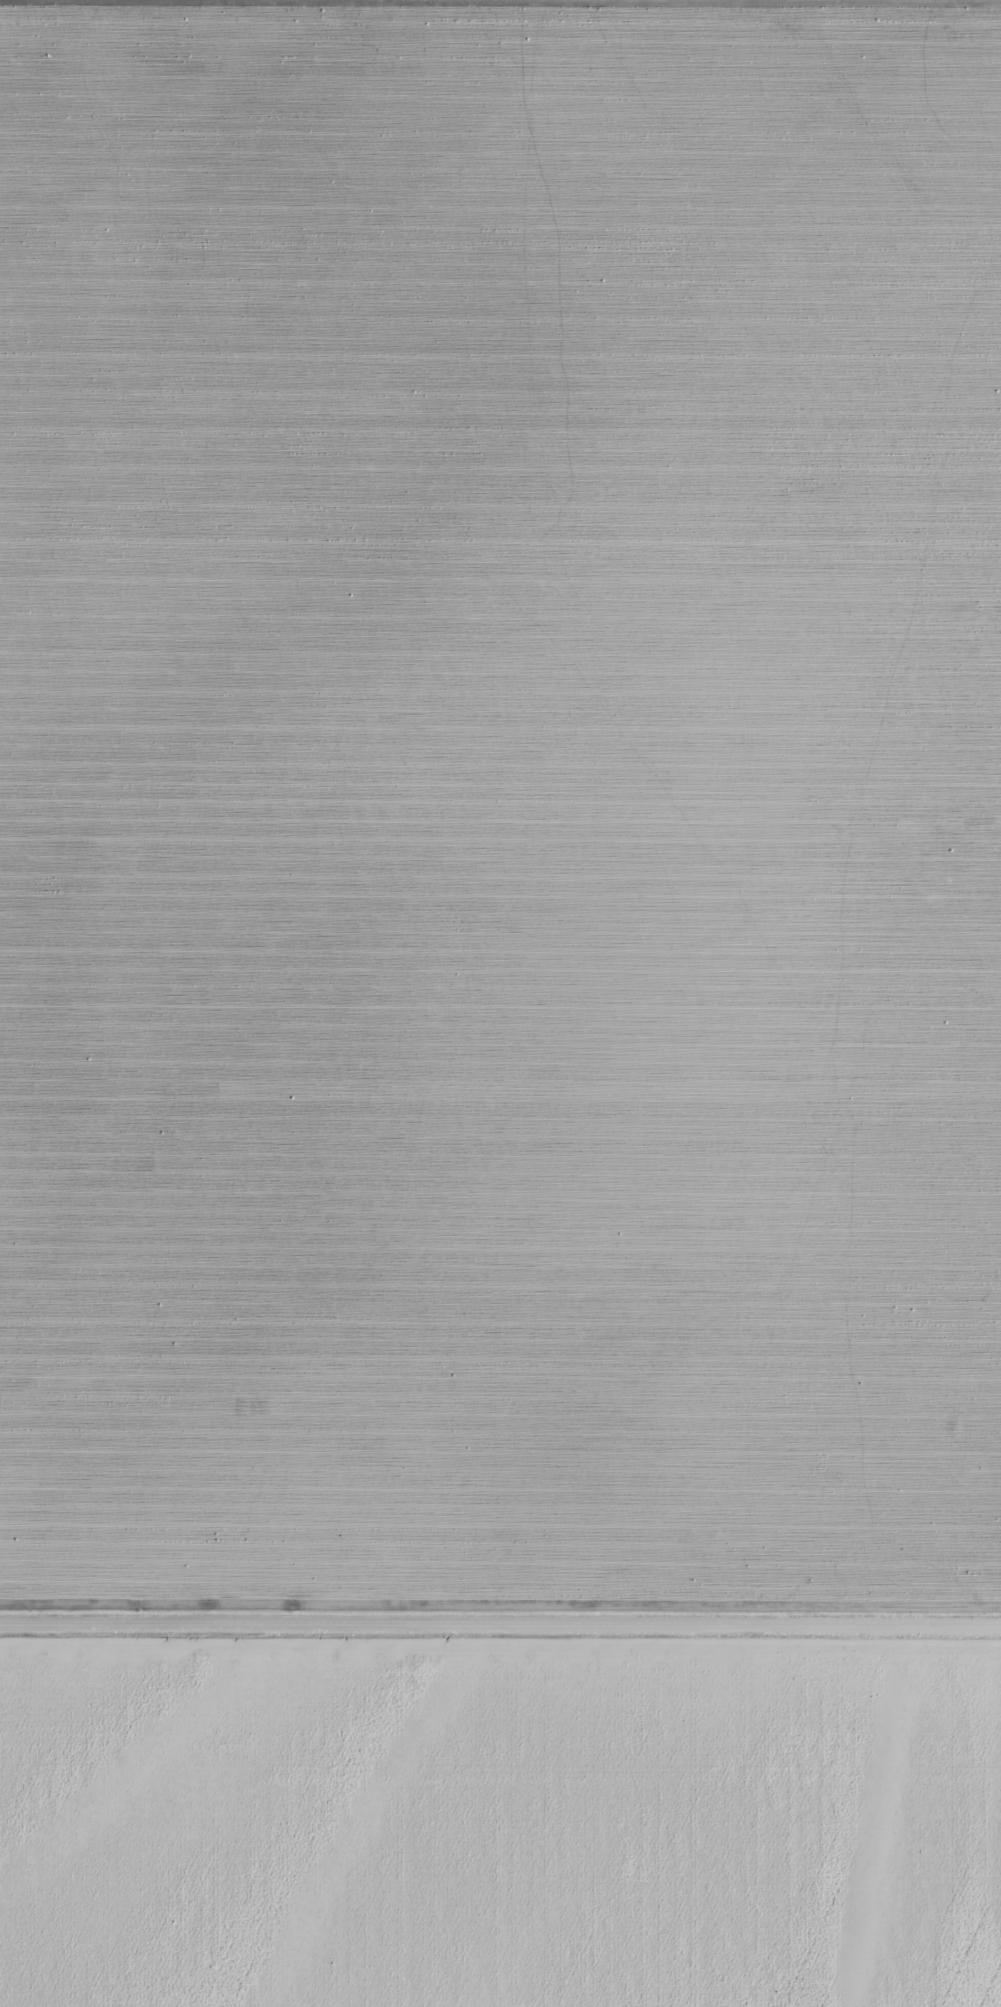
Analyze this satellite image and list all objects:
road: (500, 1623)

